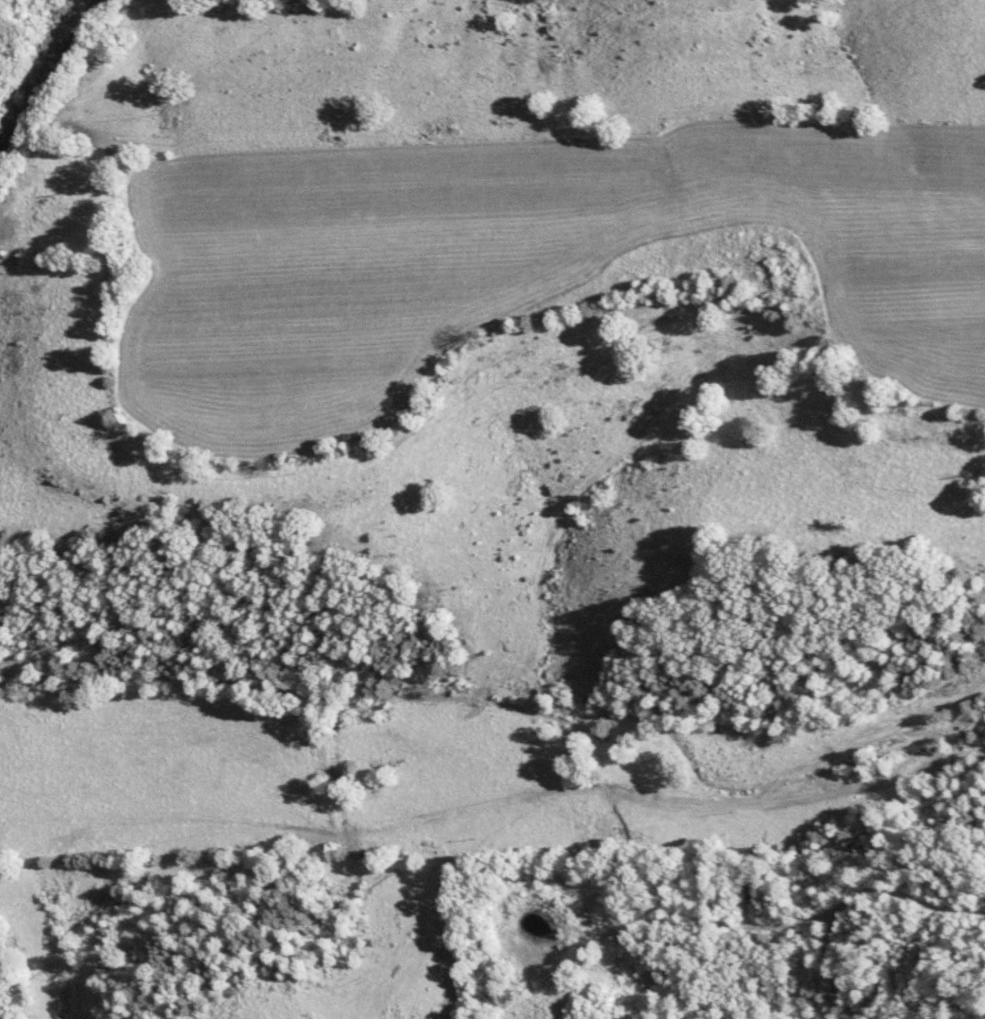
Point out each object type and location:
railway: (42, 74)

